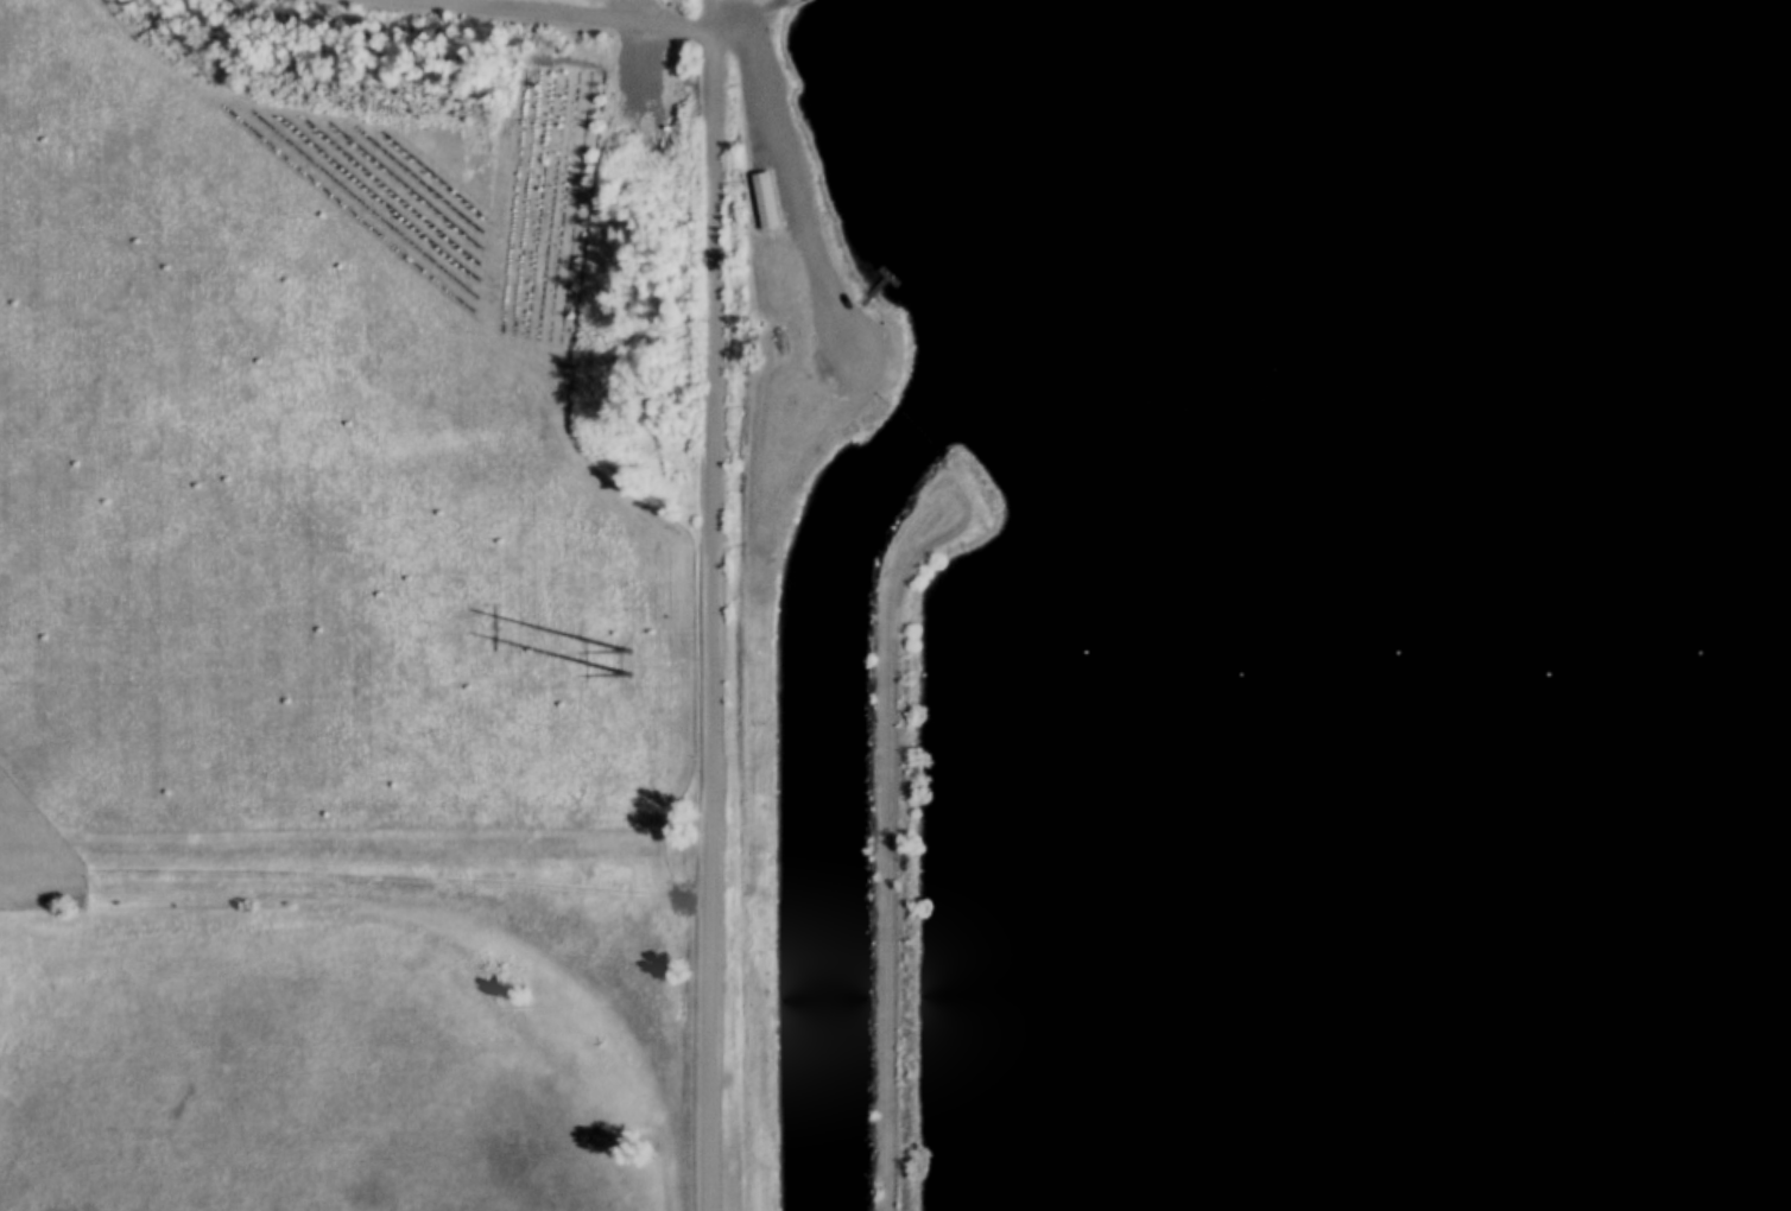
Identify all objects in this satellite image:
road: (742, 19)
road: (708, 444)
power tower: (624, 668)
road: (886, 862)
road: (354, 890)

